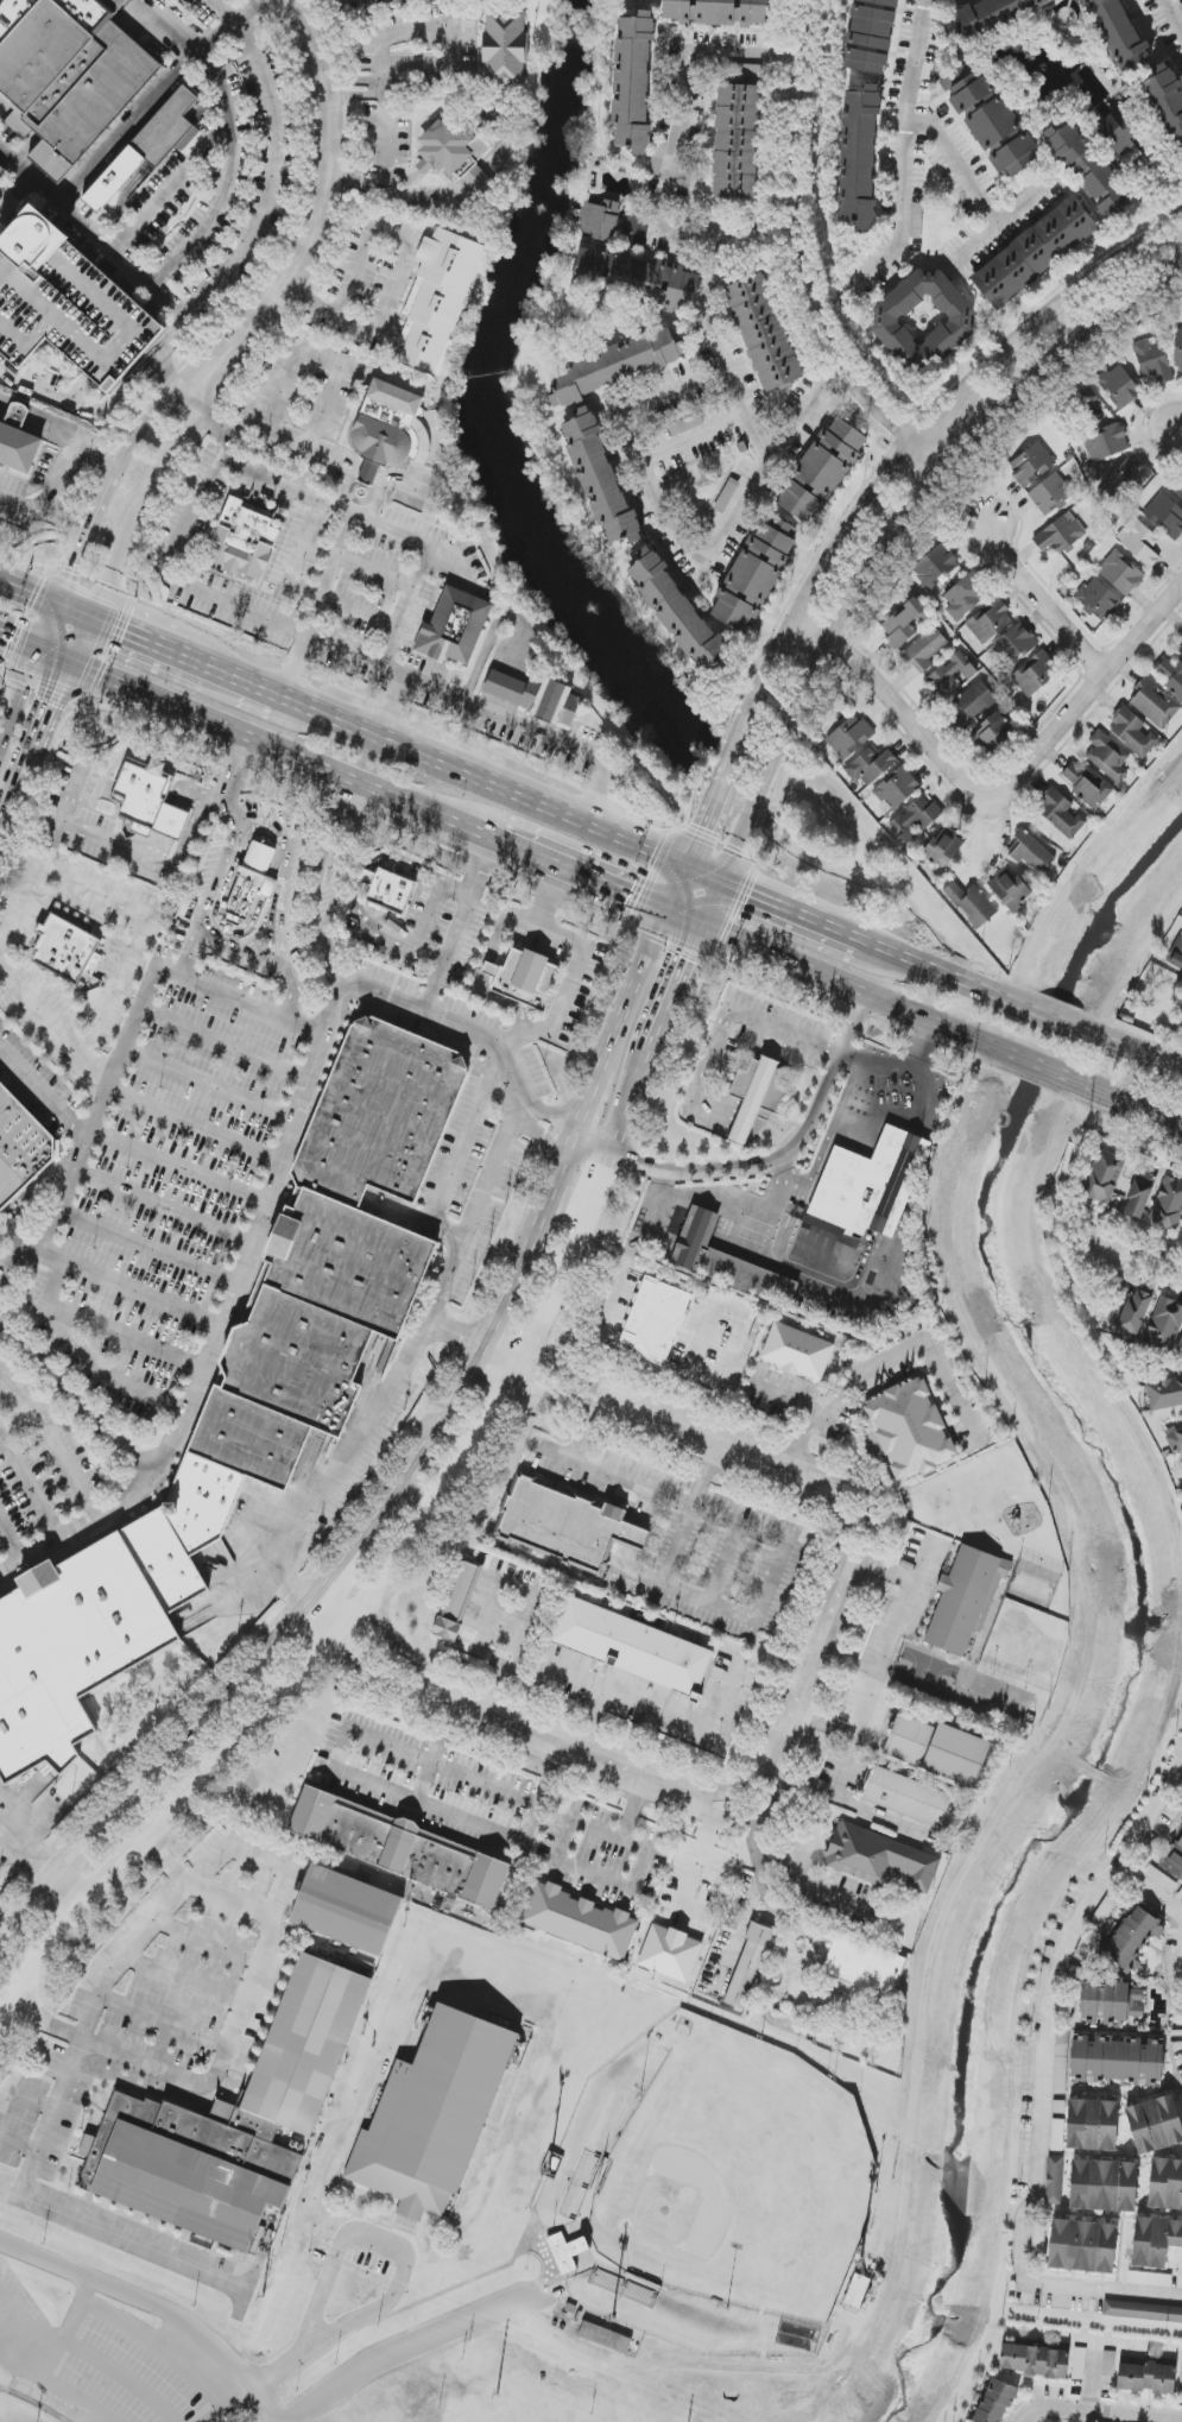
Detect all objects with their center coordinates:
building: (718, 12)
building: (991, 15)
road: (238, 19)
road: (1170, 20)
road: (444, 24)
building: (1120, 33)
building: (870, 36)
building: (505, 48)
building: (67, 74)
road: (353, 80)
building: (633, 82)
road: (353, 93)
building: (971, 93)
road: (468, 97)
building: (1168, 101)
road: (146, 108)
road: (928, 121)
building: (1003, 138)
building: (1124, 140)
building: (737, 141)
building: (148, 147)
building: (657, 154)
building: (859, 156)
building: (455, 157)
building: (1088, 170)
road: (228, 176)
road: (268, 177)
road: (354, 182)
road: (171, 183)
road: (480, 184)
road: (15, 190)
road: (322, 190)
road: (385, 193)
building: (603, 220)
road: (898, 223)
road: (93, 229)
road: (701, 235)
road: (980, 245)
road: (798, 253)
building: (1035, 253)
road: (399, 276)
building: (636, 279)
building: (437, 298)
building: (68, 305)
building: (923, 320)
building: (761, 333)
road: (171, 335)
building: (1178, 351)
road: (159, 357)
road: (321, 357)
building: (1152, 359)
building: (615, 365)
road: (196, 372)
road: (170, 374)
building: (1119, 386)
road: (187, 398)
road: (86, 406)
road: (1176, 422)
road: (138, 428)
building: (390, 429)
building: (19, 442)
building: (1107, 443)
road: (314, 444)
road: (903, 452)
building: (1031, 465)
road: (356, 469)
building: (822, 471)
road: (56, 473)
road: (368, 474)
building: (600, 479)
road: (151, 484)
building: (1124, 484)
building: (1050, 493)
road: (379, 494)
building: (1165, 516)
road: (892, 526)
building: (1061, 534)
road: (82, 538)
road: (343, 538)
road: (683, 542)
building: (1139, 542)
building: (245, 543)
road: (422, 562)
building: (936, 567)
building: (1121, 573)
building: (756, 574)
road: (195, 588)
road: (27, 589)
building: (963, 599)
building: (1099, 599)
road: (1039, 600)
traffic signals: (56, 601)
road: (75, 608)
building: (676, 610)
traffic signals: (94, 617)
building: (988, 620)
building: (905, 624)
road: (45, 626)
building: (454, 626)
road: (133, 633)
building: (1181, 633)
road: (83, 642)
building: (1015, 644)
road: (17, 645)
building: (925, 650)
building: (1181, 650)
traffic signals: (34, 652)
road: (53, 660)
traffic signals: (72, 668)
road: (227, 673)
building: (1035, 674)
building: (1171, 675)
road: (1086, 692)
building: (978, 693)
road: (17, 696)
building: (535, 696)
road: (892, 701)
building: (1153, 704)
road: (514, 714)
road: (215, 726)
building: (993, 731)
building: (1133, 733)
building: (849, 737)
road: (40, 740)
building: (1108, 756)
building: (871, 767)
road: (483, 782)
road: (233, 784)
building: (1088, 786)
building: (897, 788)
building: (148, 800)
road: (428, 813)
building: (1060, 813)
road: (707, 816)
building: (916, 819)
road: (5, 825)
building: (944, 847)
building: (1031, 853)
road: (137, 863)
traffic signals: (687, 868)
road: (223, 873)
road: (704, 875)
road: (583, 876)
traffic signals: (722, 882)
building: (254, 885)
road: (285, 885)
road: (677, 889)
building: (388, 890)
building: (1010, 891)
road: (115, 903)
road: (713, 903)
building: (972, 903)
traffic signals: (668, 912)
road: (794, 913)
road: (685, 917)
traffic signals: (703, 925)
road: (463, 928)
parking lot: (77, 939)
building: (65, 946)
road: (879, 950)
road: (191, 951)
road: (248, 954)
building: (1177, 955)
road: (581, 958)
road: (192, 973)
road: (820, 975)
building: (524, 978)
road: (678, 988)
road: (292, 995)
road: (631, 997)
road: (1038, 1011)
road: (55, 1021)
parking lot: (285, 1022)
road: (767, 1024)
road: (475, 1034)
road: (226, 1041)
road: (899, 1070)
road: (1057, 1077)
road: (210, 1084)
road: (44, 1089)
building: (756, 1096)
road: (697, 1097)
road: (583, 1110)
road: (196, 1123)
road: (745, 1123)
parking lot: (30, 1135)
road: (779, 1136)
building: (21, 1143)
road: (595, 1147)
road: (472, 1154)
road: (795, 1162)
road: (181, 1163)
building: (1104, 1177)
building: (871, 1185)
building: (1139, 1193)
road: (738, 1200)
road: (165, 1204)
building: (1168, 1205)
road: (543, 1206)
road: (469, 1237)
road: (148, 1245)
parking lot: (139, 1256)
road: (248, 1257)
road: (1144, 1257)
building: (726, 1261)
road: (4, 1268)
road: (128, 1287)
building: (1137, 1310)
road: (498, 1313)
building: (656, 1320)
building: (1164, 1325)
road: (127, 1336)
building: (1180, 1346)
building: (797, 1351)
road: (89, 1356)
road: (520, 1361)
road: (884, 1363)
building: (1164, 1394)
building: (246, 1395)
road: (72, 1396)
road: (794, 1396)
building: (910, 1430)
building: (1175, 1440)
road: (55, 1442)
road: (424, 1449)
building: (1181, 1462)
road: (596, 1467)
road: (340, 1471)
road: (31, 1486)
road: (672, 1497)
building: (568, 1526)
road: (78, 1528)
road: (632, 1533)
road: (11, 1541)
road: (339, 1575)
road: (770, 1581)
road: (527, 1590)
building: (966, 1598)
building: (459, 1600)
road: (327, 1625)
road: (824, 1631)
road: (391, 1641)
building: (632, 1647)
road: (890, 1655)
road: (374, 1680)
road: (595, 1721)
road: (694, 1726)
building: (937, 1749)
road: (146, 1768)
road: (1176, 1781)
road: (506, 1793)
building: (908, 1796)
road: (1150, 1815)
road: (26, 1819)
road: (167, 1828)
building: (399, 1847)
road: (39, 1852)
road: (264, 1852)
road: (558, 1853)
road: (795, 1855)
road: (703, 1858)
building: (879, 1858)
building: (1159, 1878)
road: (82, 1882)
road: (1150, 1898)
building: (347, 1910)
building: (580, 1922)
road: (740, 1930)
building: (1133, 1938)
road: (126, 1950)
building: (670, 1953)
building: (750, 1966)
building: (864, 1966)
road: (772, 1976)
road: (1181, 1979)
road: (183, 1980)
road: (246, 1998)
building: (1111, 2002)
road: (163, 2022)
road: (75, 2056)
building: (1118, 2061)
building: (434, 2114)
building: (233, 2121)
building: (1155, 2124)
building: (1093, 2125)
road: (1039, 2152)
park: (716, 2170)
building: (1054, 2180)
building: (1165, 2184)
building: (1104, 2186)
road: (87, 2225)
building: (1155, 2240)
building: (1082, 2246)
building: (567, 2252)
road: (45, 2260)
building: (857, 2291)
building: (1143, 2311)
road: (139, 2334)
road: (335, 2335)
building: (605, 2338)
road: (397, 2350)
road: (56, 2351)
building: (1035, 2360)
building: (1079, 2364)
road: (122, 2374)
building: (1181, 2377)
building: (1146, 2378)
road: (1092, 2383)
road: (76, 2396)
building: (995, 2402)
road: (226, 2403)
road: (264, 2403)
road: (1093, 2415)

